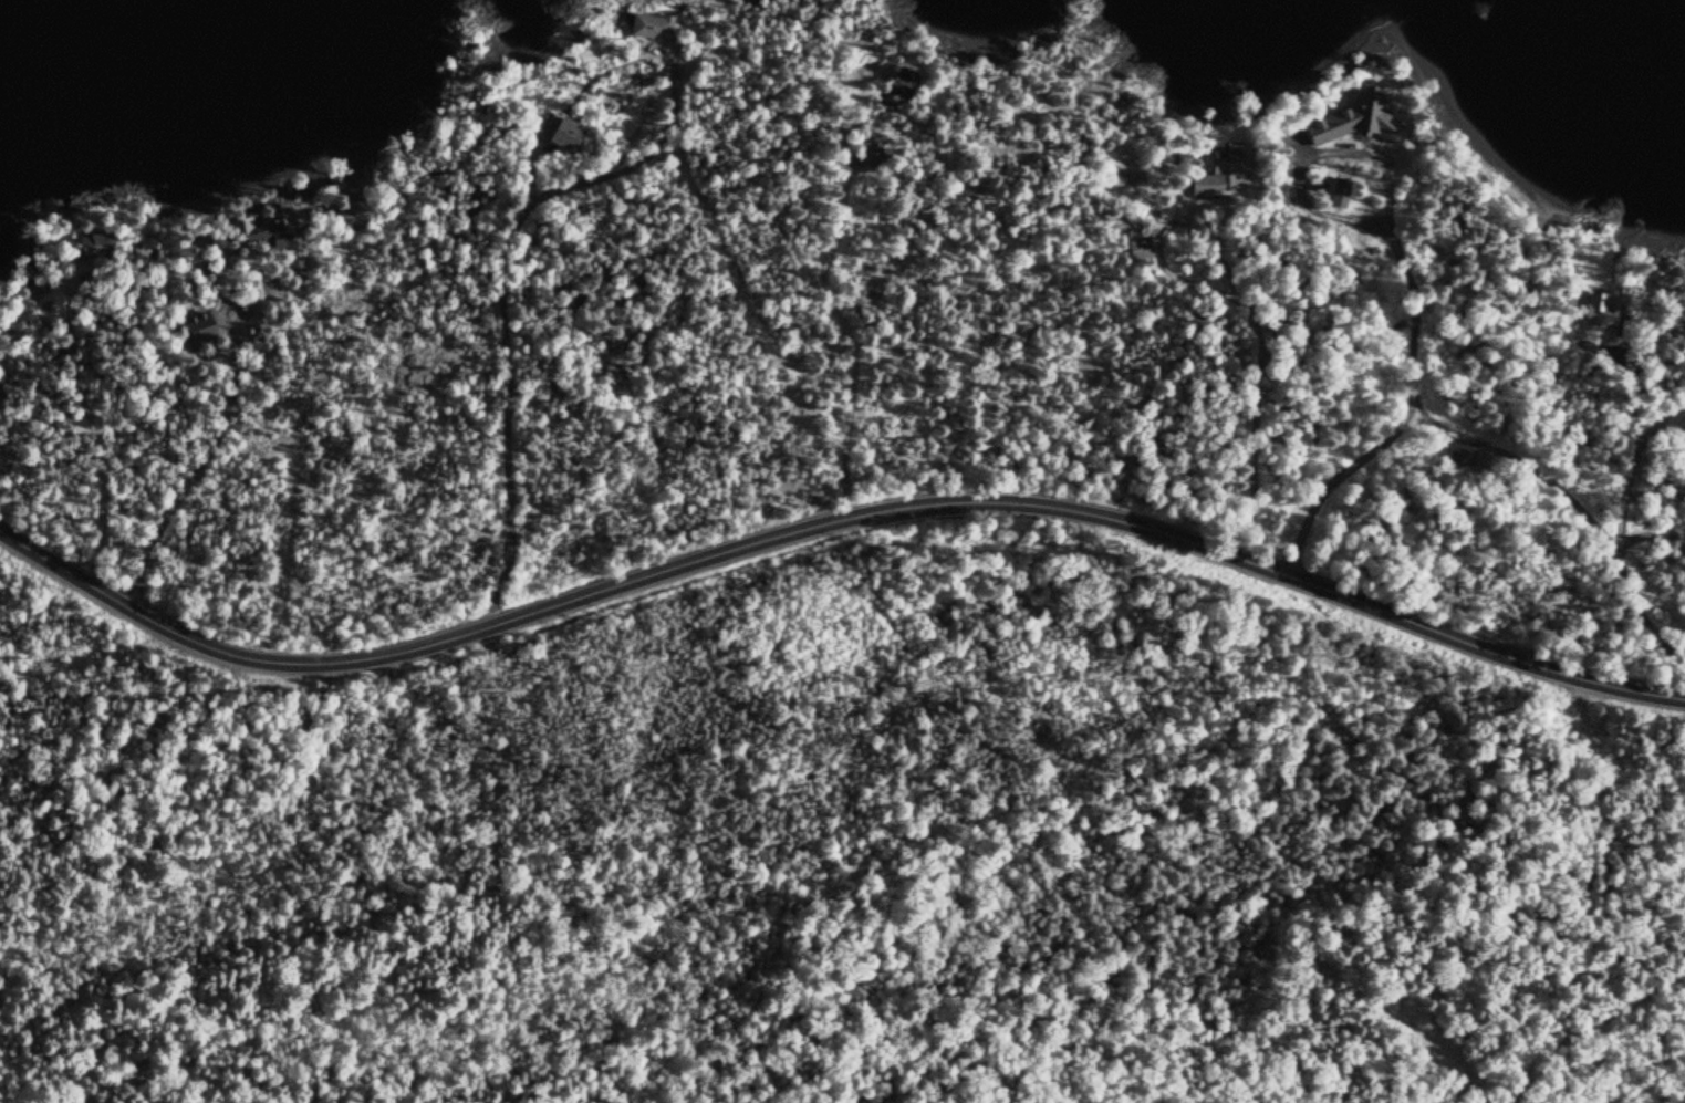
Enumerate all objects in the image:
building: (656, 29)
road: (620, 134)
building: (572, 137)
building: (1145, 249)
road: (508, 280)
road: (850, 294)
road: (1250, 366)
road: (1635, 382)
road: (1454, 409)
road: (89, 418)
road: (226, 423)
road: (1639, 459)
road: (1348, 460)
road: (833, 502)
road: (1643, 560)

